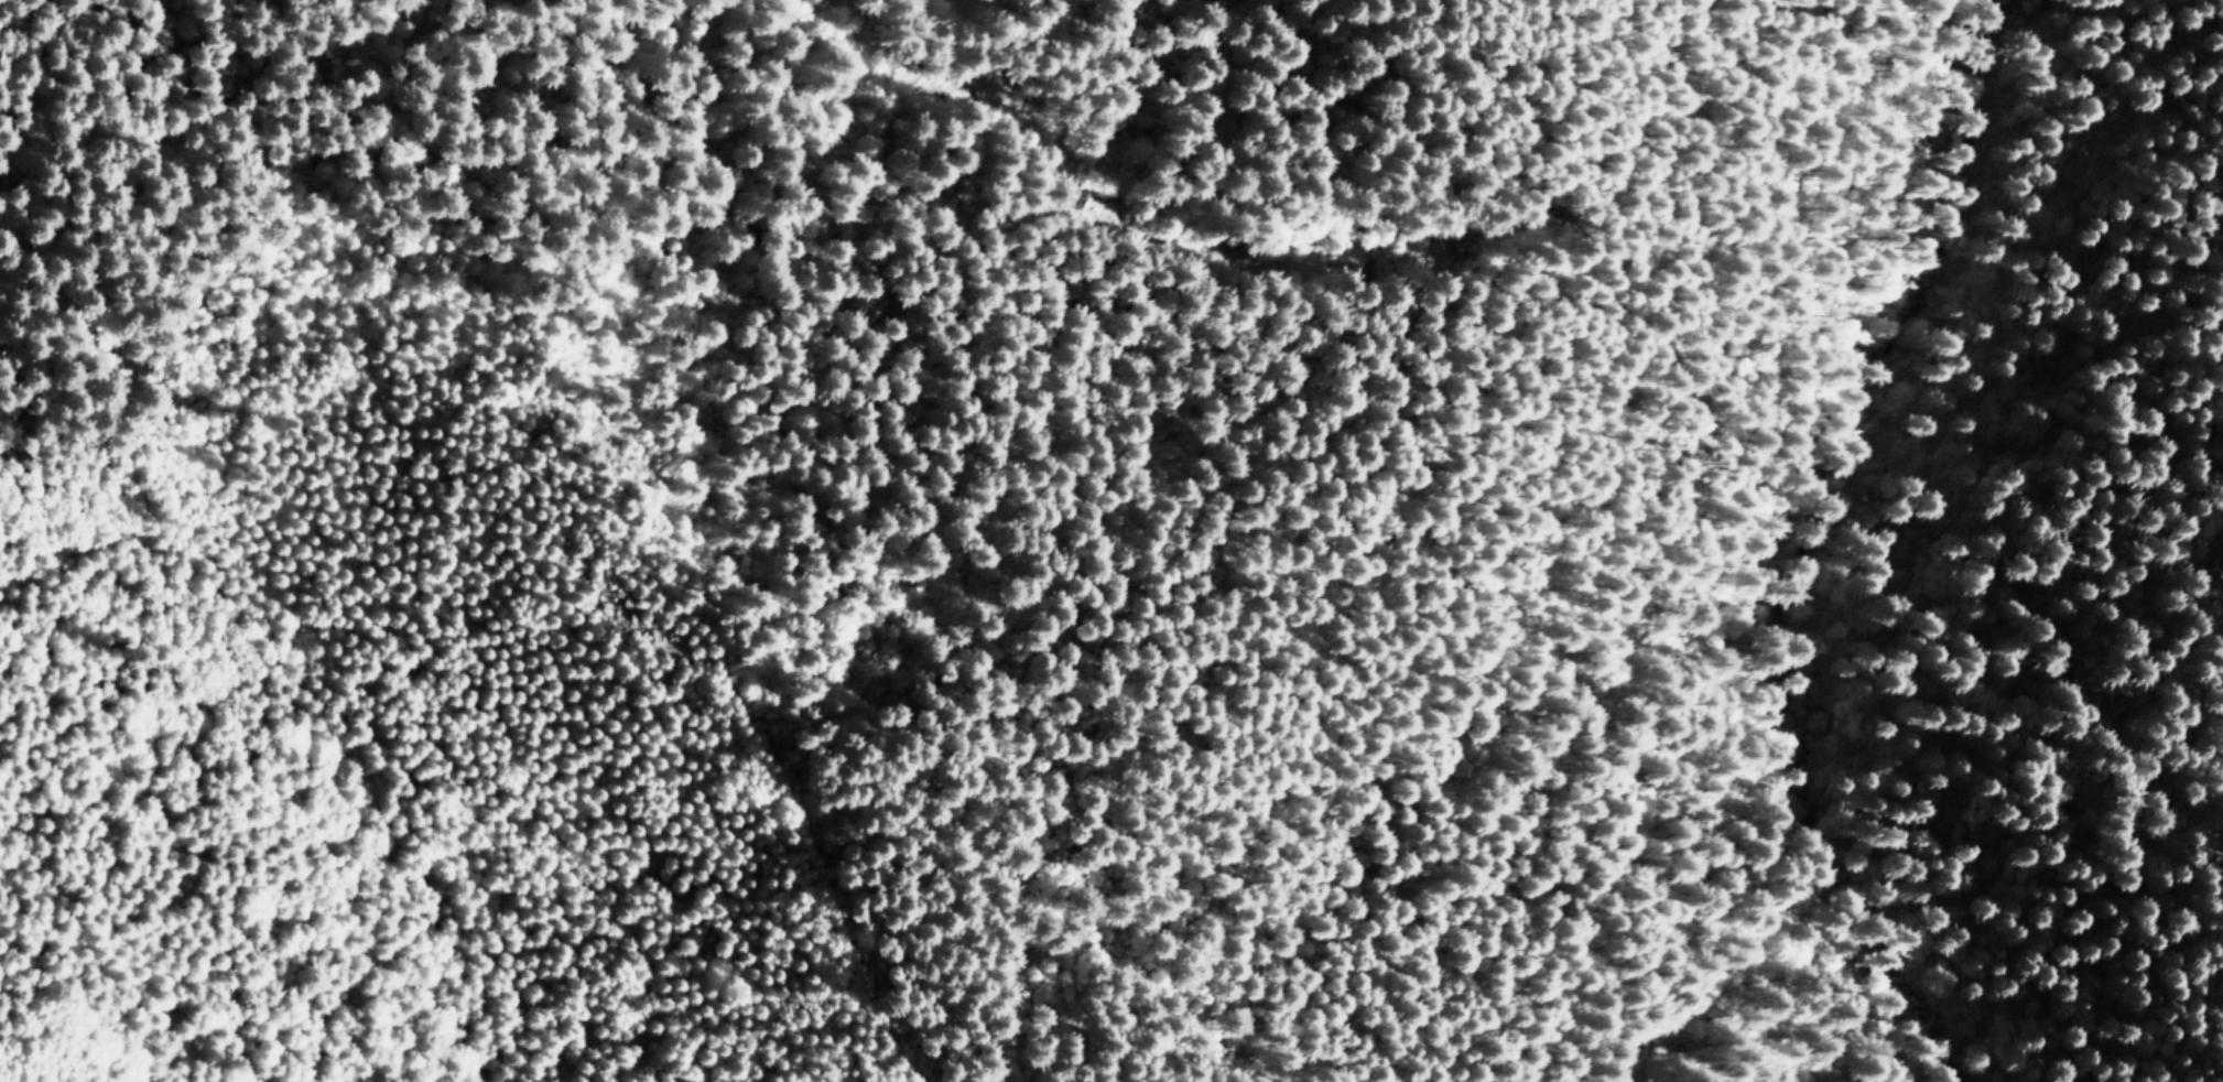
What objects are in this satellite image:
road: (1210, 240)
road: (200, 447)
road: (1782, 778)
road: (816, 889)
road: (1106, 999)

